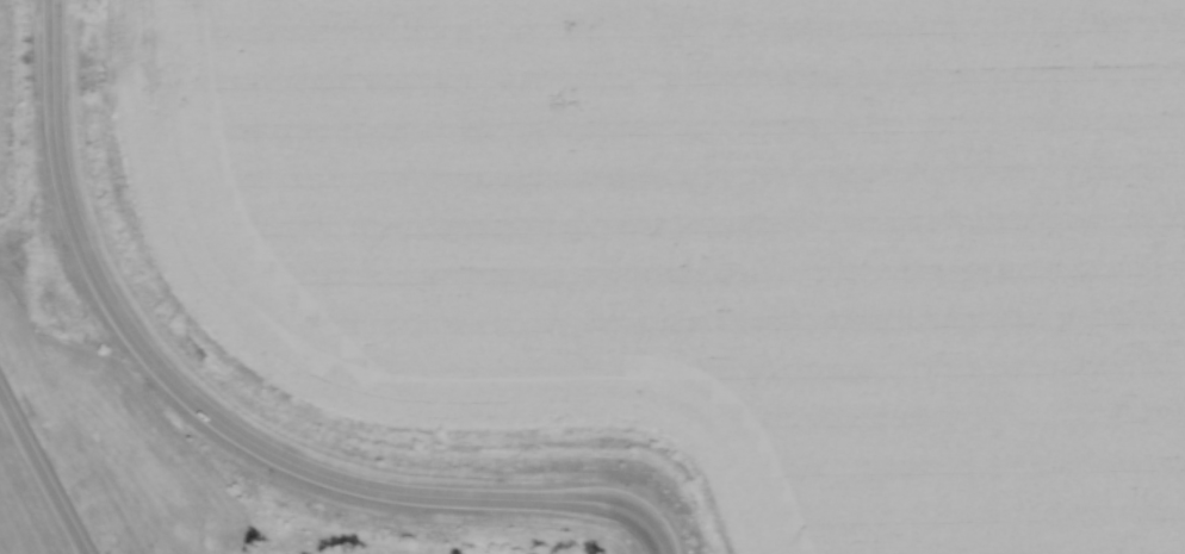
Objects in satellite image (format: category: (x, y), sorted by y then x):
crop: (708, 241)
road: (224, 423)
road: (42, 472)

